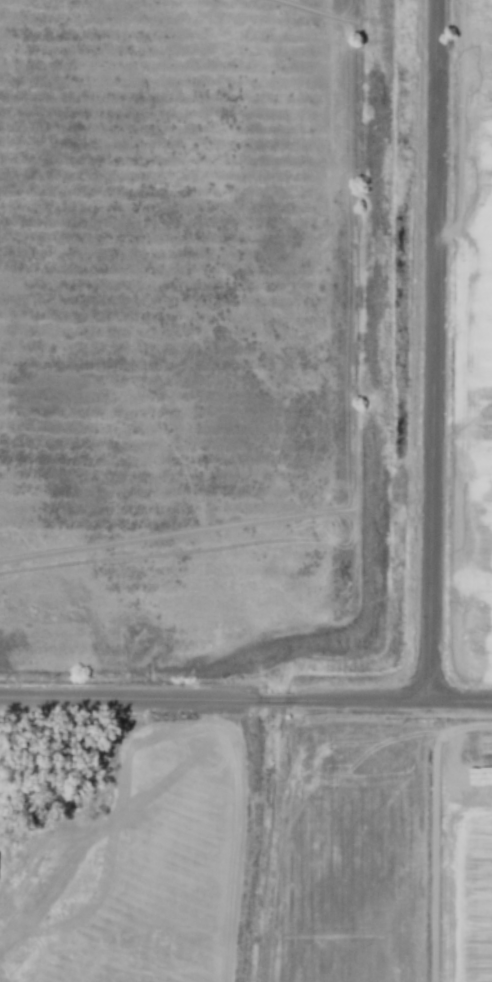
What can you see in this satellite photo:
road: (421, 347)
road: (246, 693)

